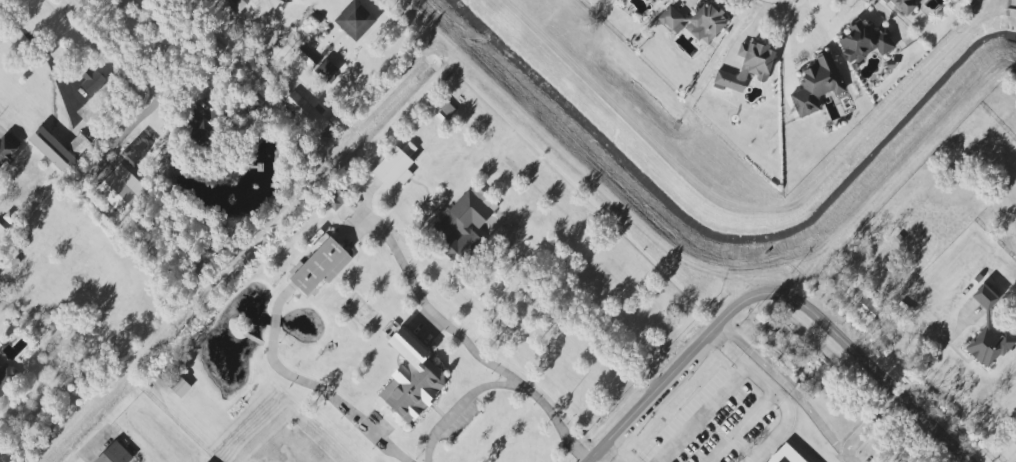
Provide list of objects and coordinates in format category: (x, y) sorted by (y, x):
road: (782, 0)
building: (657, 1)
building: (236, 4)
building: (903, 5)
road: (268, 7)
building: (670, 18)
building: (355, 20)
building: (708, 21)
road: (31, 38)
building: (863, 42)
road: (786, 44)
road: (295, 47)
building: (747, 67)
building: (326, 70)
road: (153, 81)
building: (816, 85)
building: (304, 114)
building: (197, 124)
building: (79, 144)
building: (8, 147)
building: (138, 148)
building: (51, 149)
building: (395, 166)
building: (120, 188)
building: (334, 200)
building: (465, 214)
building: (2, 231)
building: (316, 240)
building: (320, 266)
road: (276, 304)
building: (866, 308)
road: (429, 310)
road: (581, 313)
road: (273, 320)
road: (937, 352)
road: (867, 364)
road: (670, 375)
building: (5, 377)
building: (411, 378)
road: (758, 381)
road: (503, 385)
building: (180, 388)
road: (788, 388)
road: (768, 395)
road: (329, 396)
road: (719, 397)
road: (871, 424)
road: (81, 454)
building: (114, 454)
road: (610, 455)

